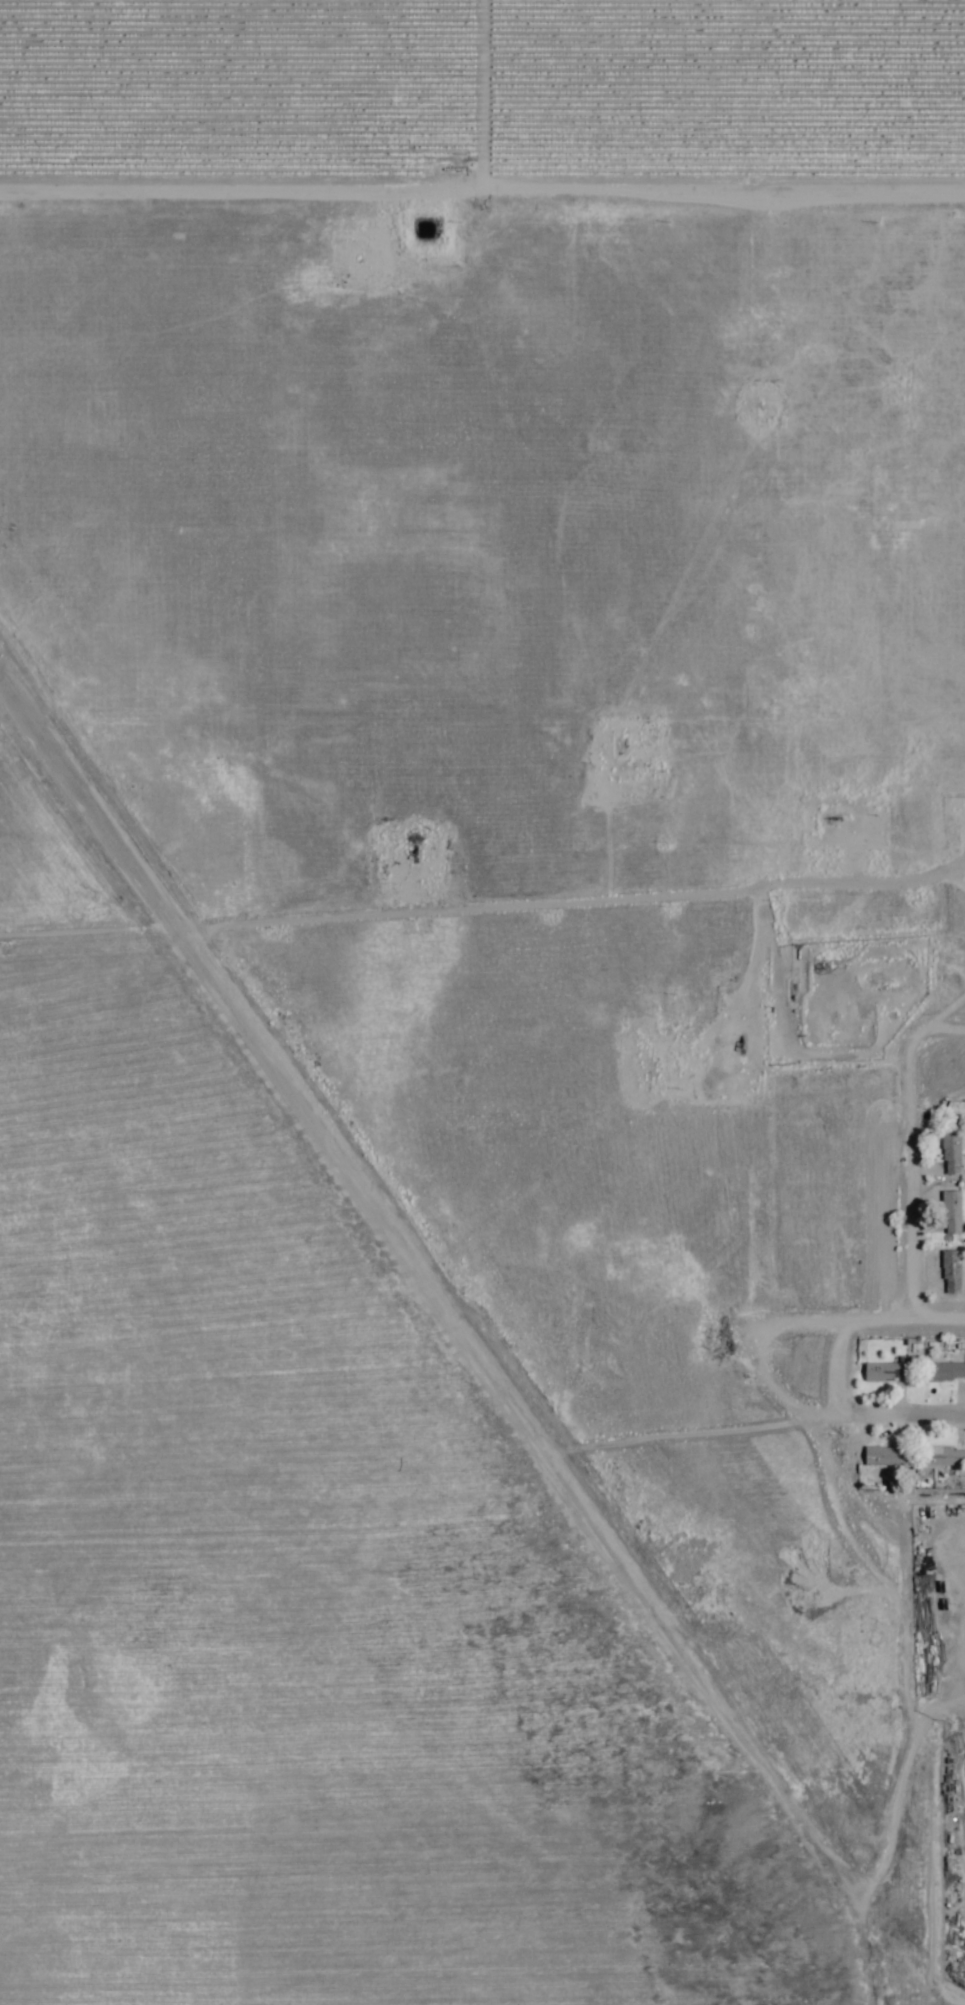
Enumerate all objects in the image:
crop: (478, 95)
road: (482, 187)
building: (949, 1153)
road: (876, 1169)
airport runway: (362, 1191)
building: (949, 1213)
airport: (409, 1248)
building: (949, 1272)
road: (764, 1329)
building: (883, 1372)
building: (943, 1372)
building: (944, 1453)
building: (883, 1456)

